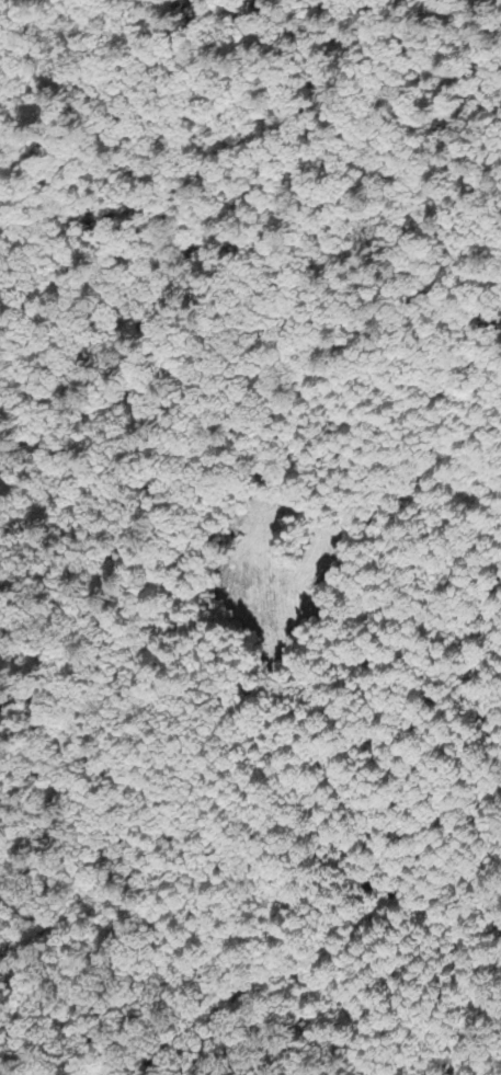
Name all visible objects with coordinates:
road: (331, 804)

